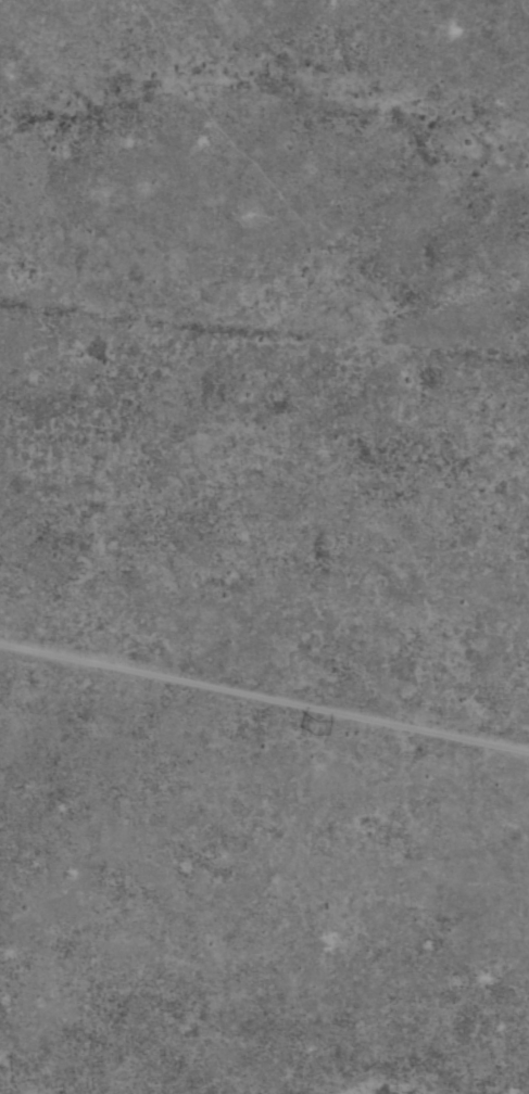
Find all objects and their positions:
power tower: (312, 725)

